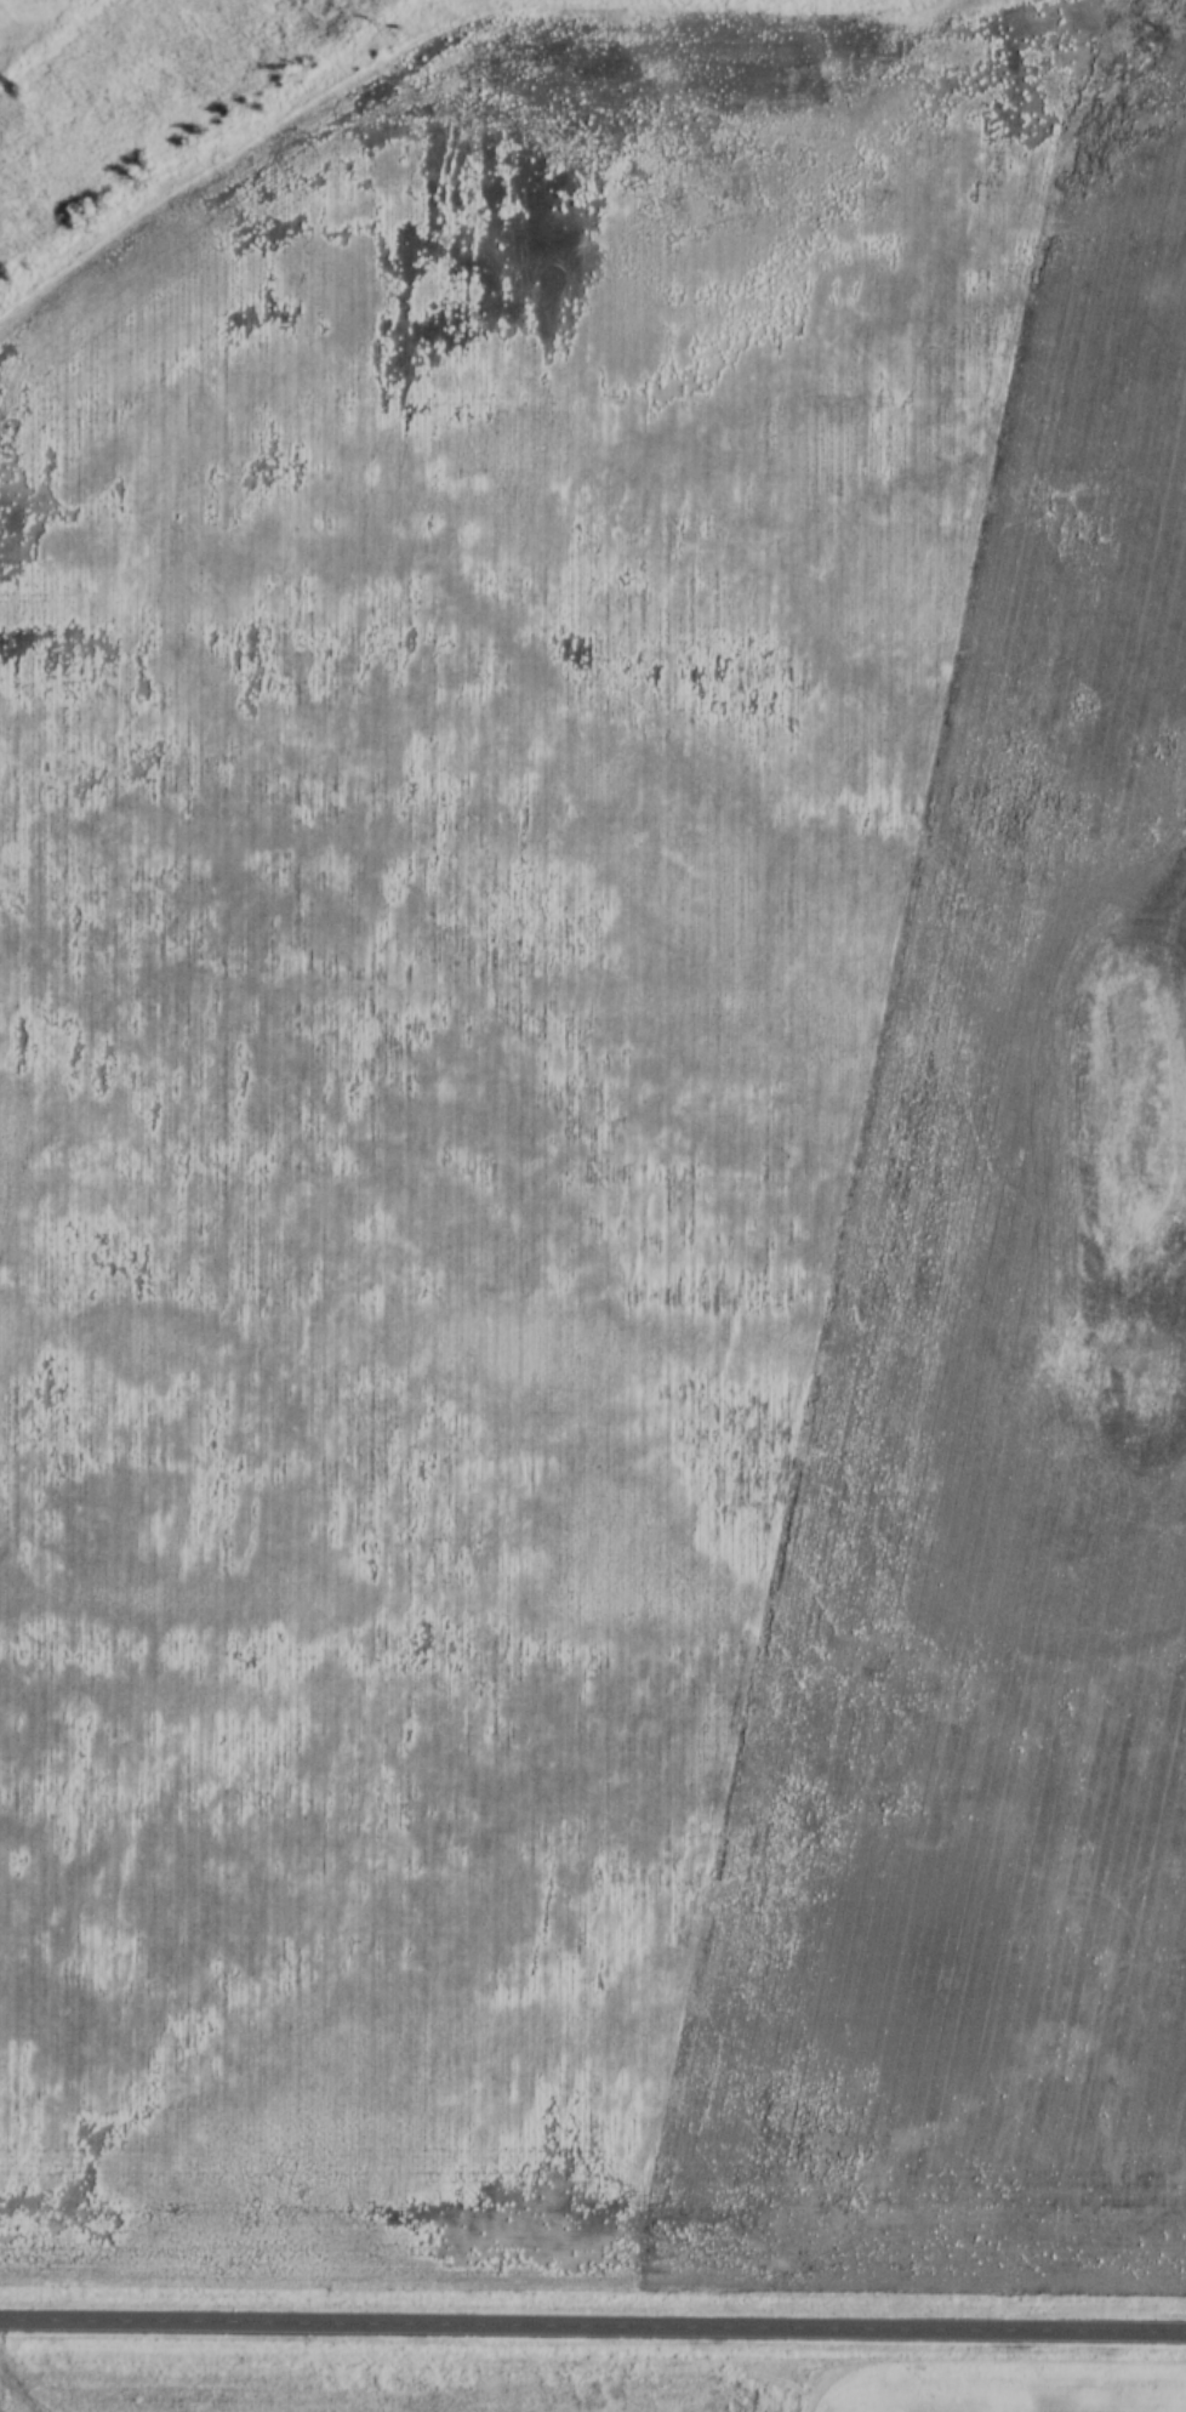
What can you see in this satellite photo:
road: (593, 2329)

